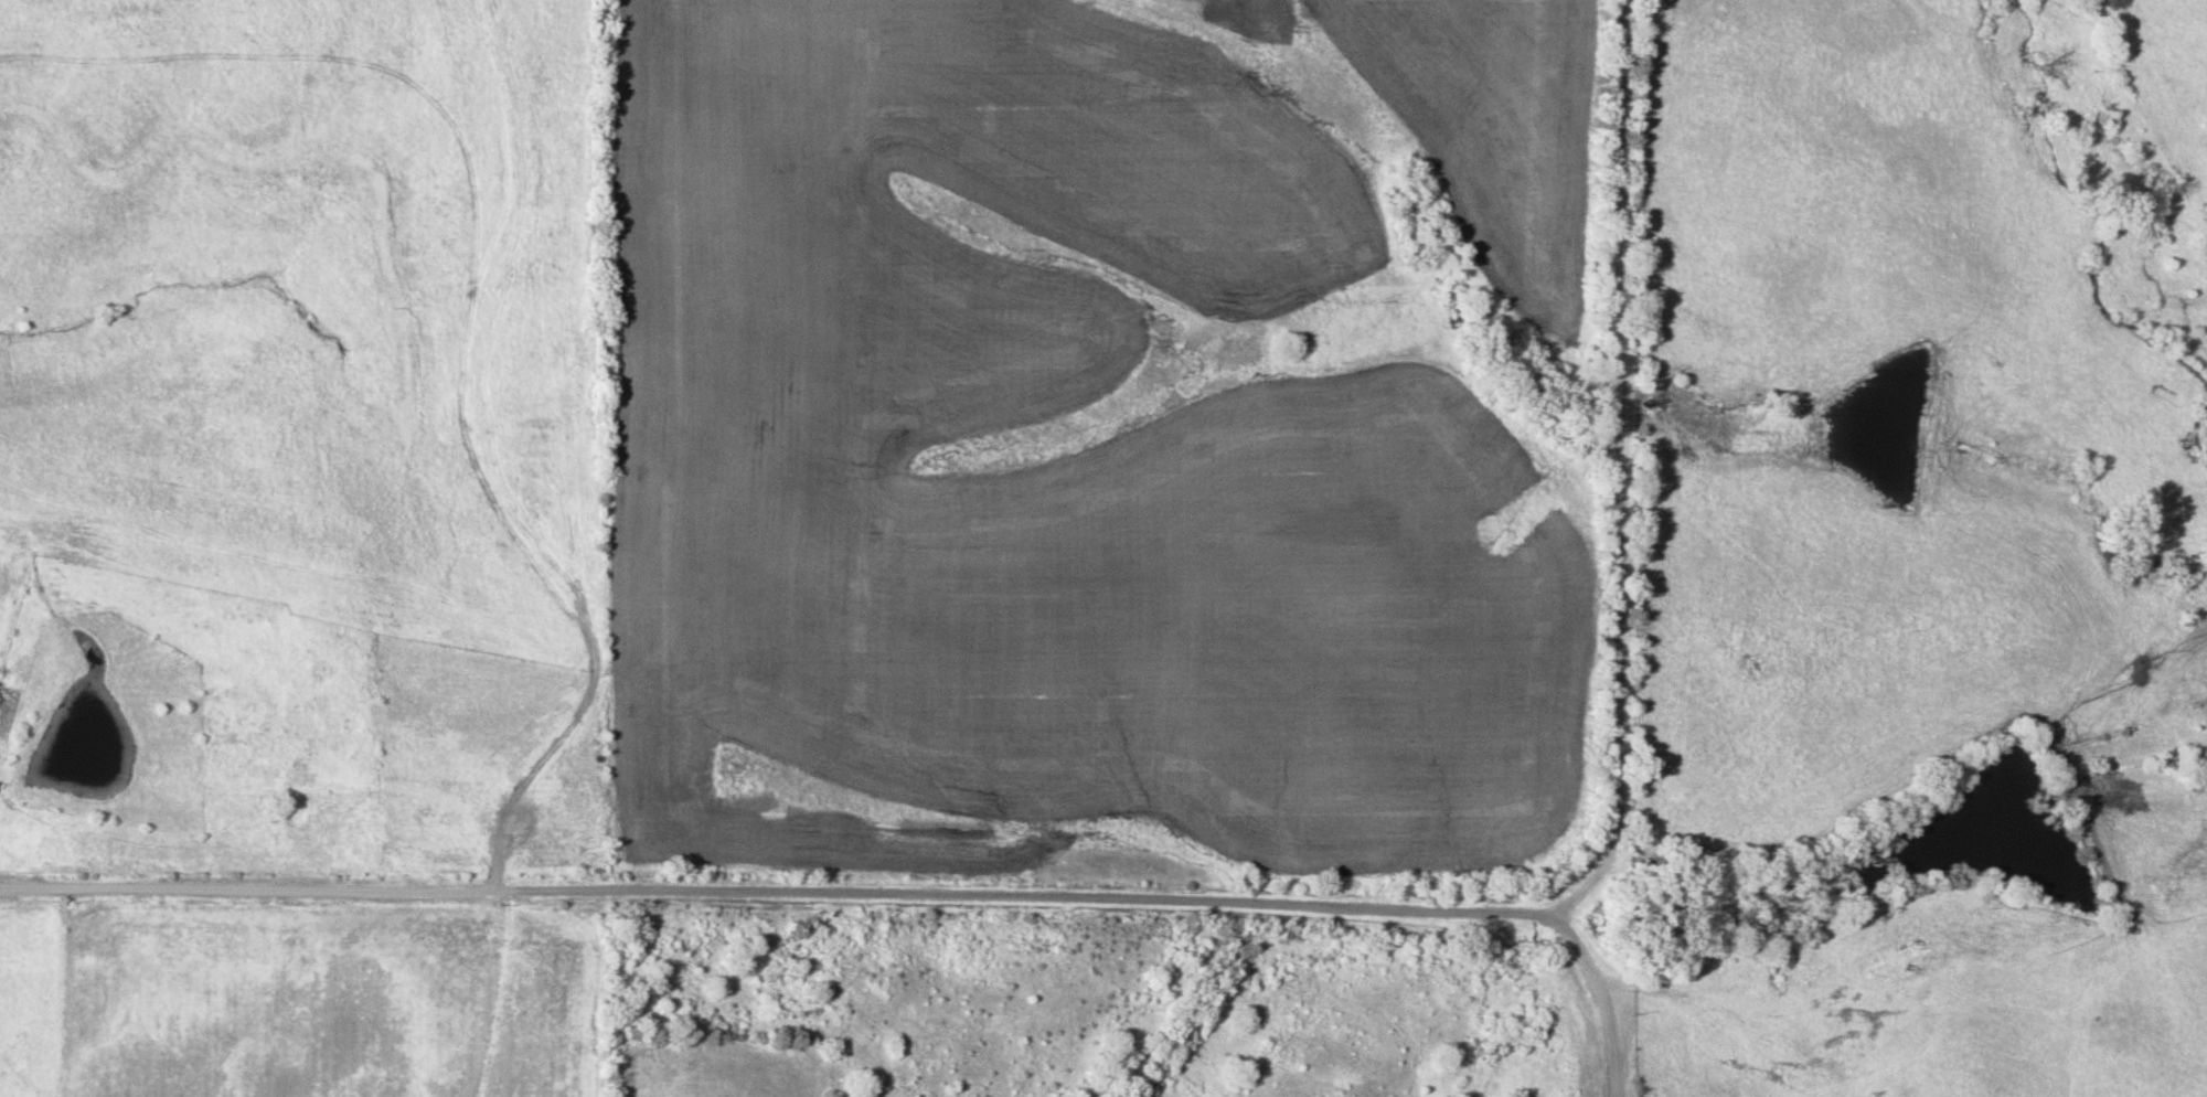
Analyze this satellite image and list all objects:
road: (1592, 880)
road: (779, 891)
road: (1601, 1003)

